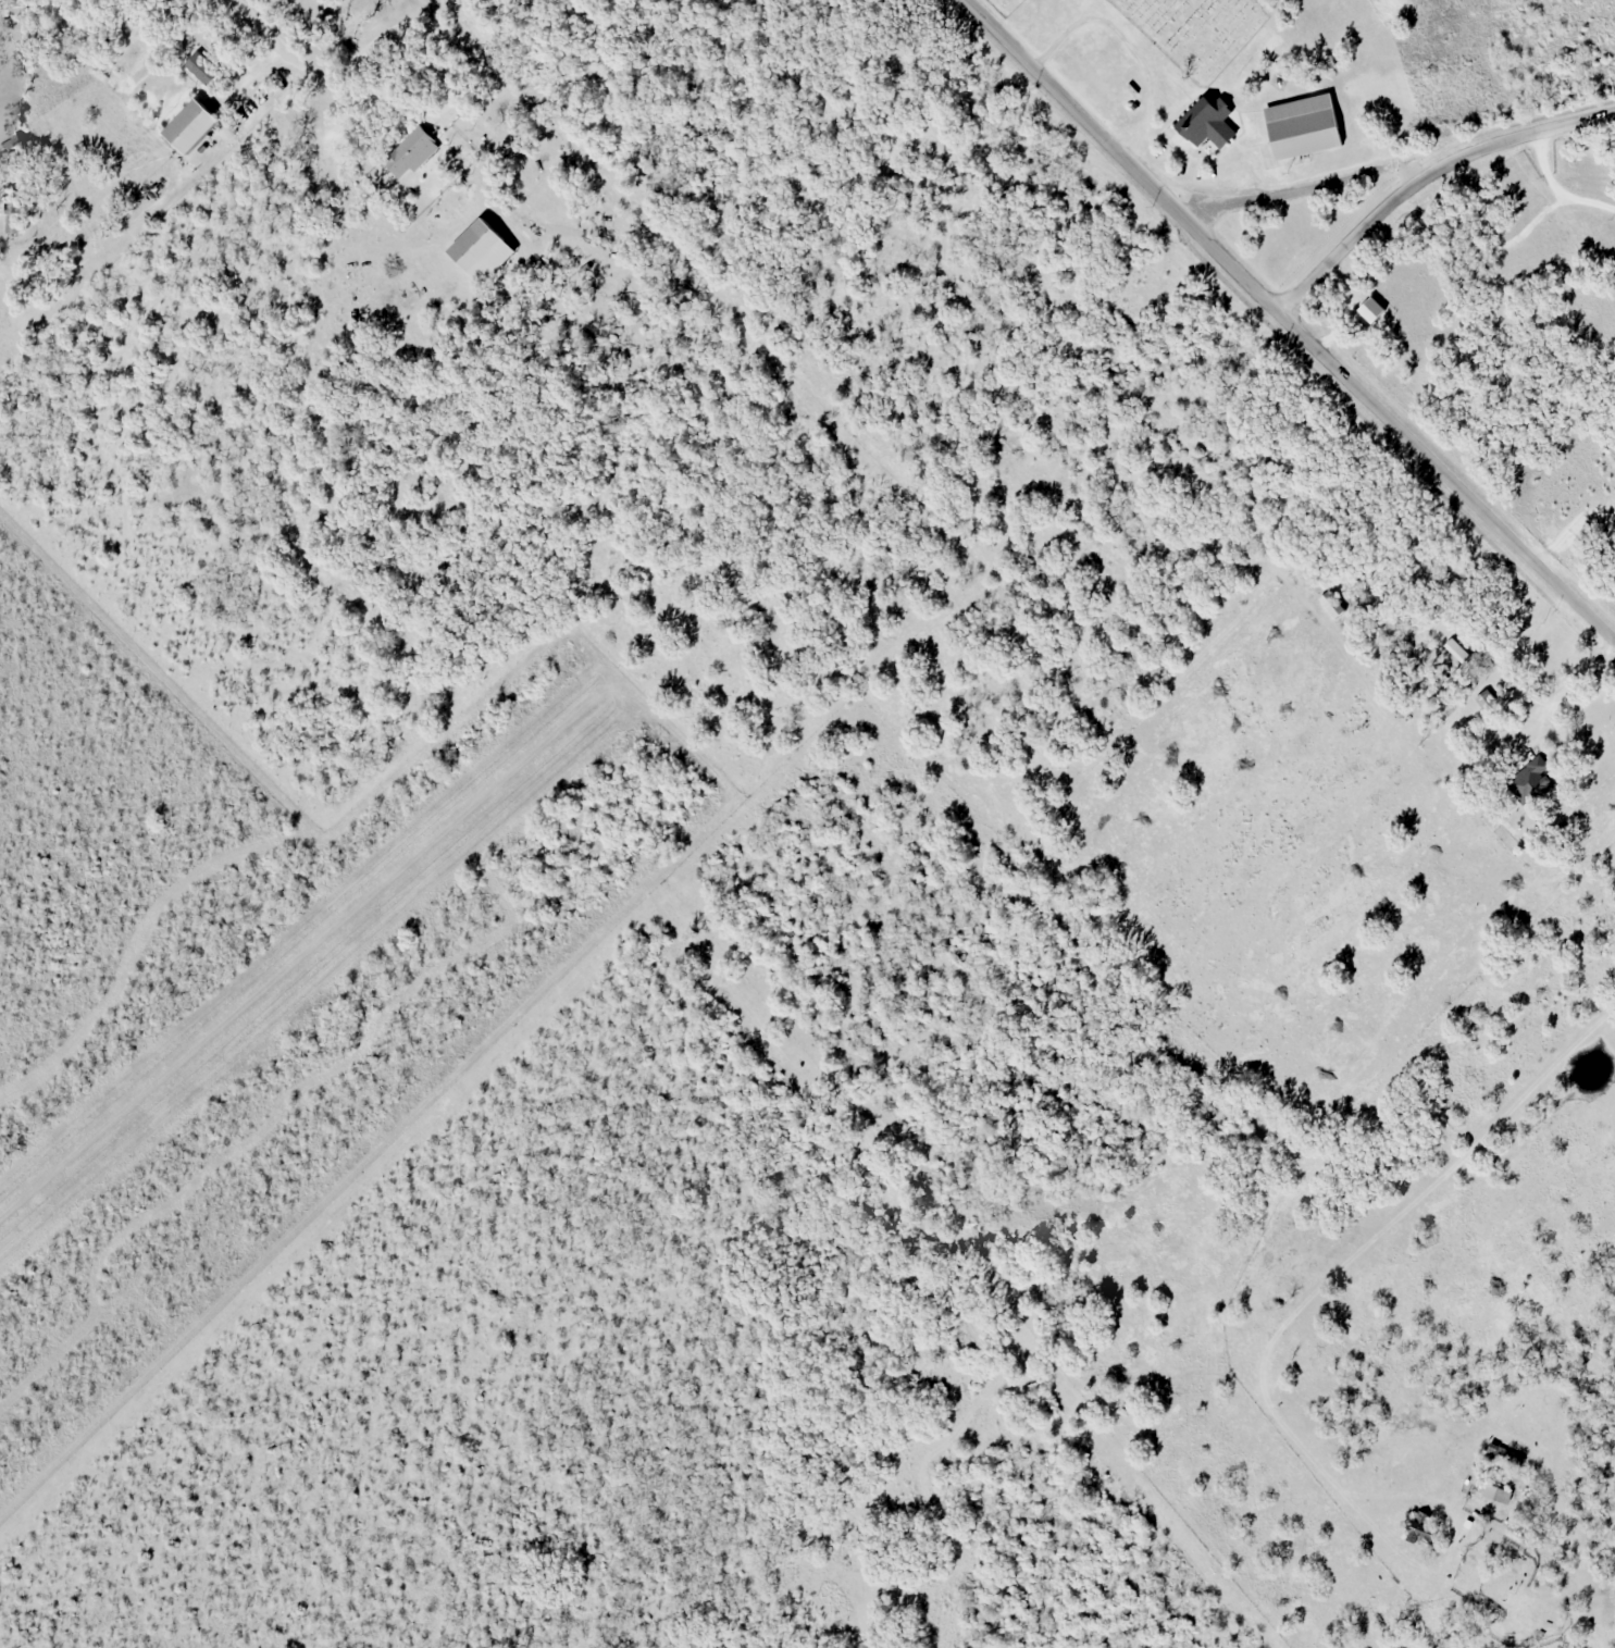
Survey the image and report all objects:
park: (1004, 5)
road: (266, 30)
park: (1196, 30)
building: (201, 66)
building: (1209, 124)
building: (1302, 125)
building: (189, 126)
building: (12, 146)
building: (410, 151)
road: (1397, 162)
road: (1376, 216)
building: (12, 218)
building: (481, 250)
building: (1369, 309)
road: (1289, 323)
building: (1331, 605)
building: (1456, 649)
building: (1529, 782)
road: (295, 961)
road: (1365, 1249)
building: (1502, 1454)
building: (1498, 1494)
building: (1421, 1531)
road: (868, 1641)

